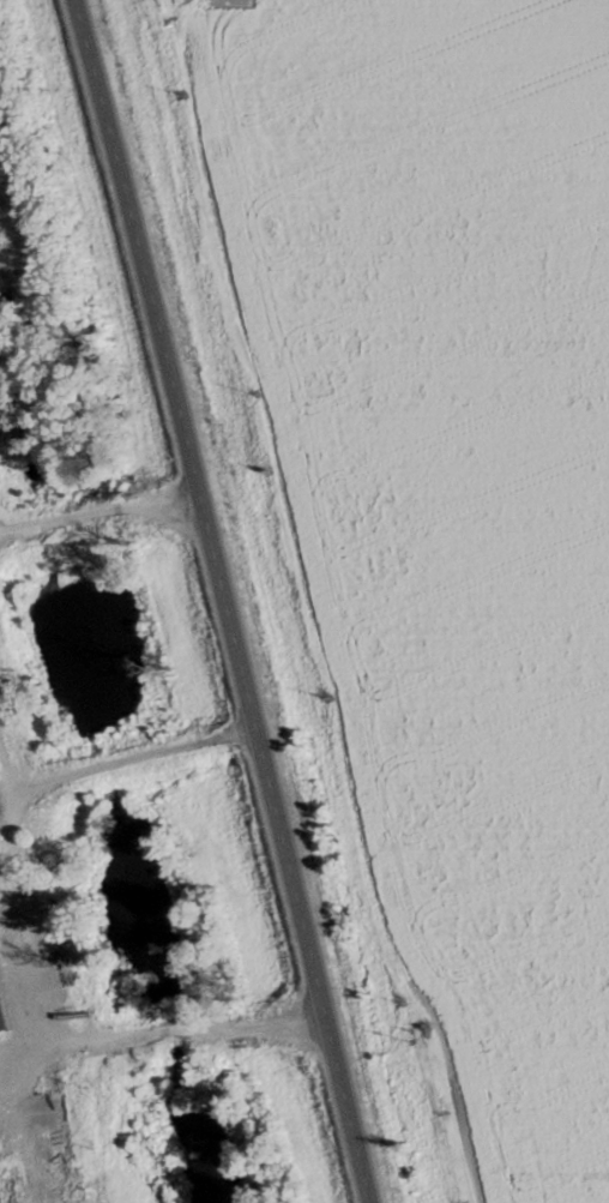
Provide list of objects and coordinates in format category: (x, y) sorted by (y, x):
road: (228, 600)
river: (48, 604)
river: (103, 770)
river: (137, 906)
road: (34, 938)
building: (2, 1018)
river: (170, 1047)
river: (194, 1139)
building: (85, 1202)

